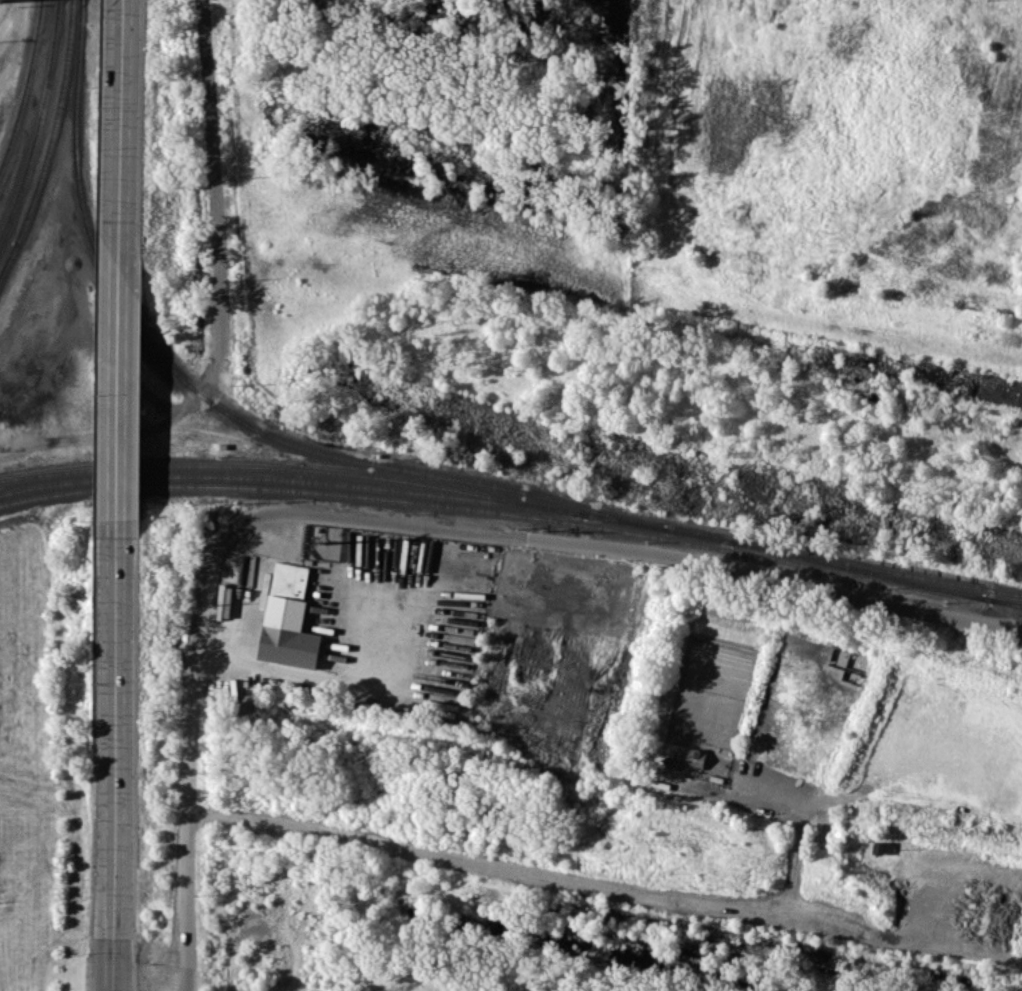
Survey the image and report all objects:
railway: (23, 86)
railway: (39, 122)
railway: (53, 123)
road: (120, 129)
railway: (8, 258)
railway: (8, 261)
road: (118, 395)
railway: (223, 410)
railway: (367, 477)
railway: (292, 480)
railway: (494, 510)
road: (280, 516)
railway: (876, 568)
railway: (857, 569)
road: (819, 585)
railway: (987, 598)
railway: (1006, 601)
railway: (1006, 602)
building: (287, 617)
road: (325, 677)
building: (695, 757)
road: (115, 761)
road: (514, 869)

